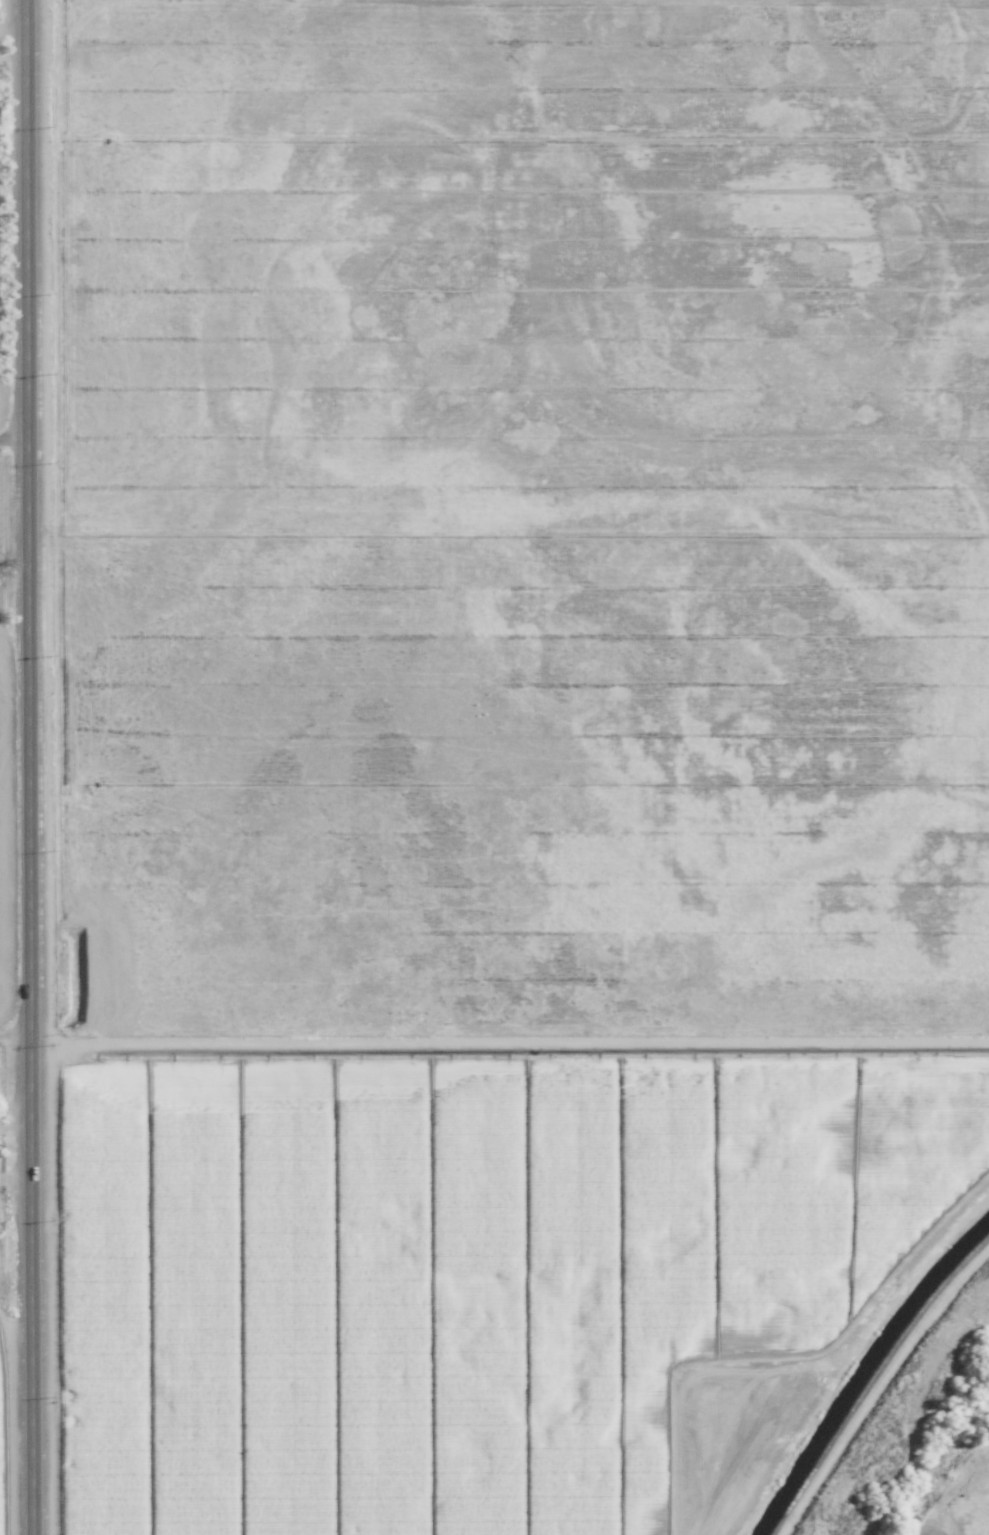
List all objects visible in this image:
road: (12, 33)
road: (12, 57)
road: (12, 434)
road: (26, 767)
road: (14, 1037)

